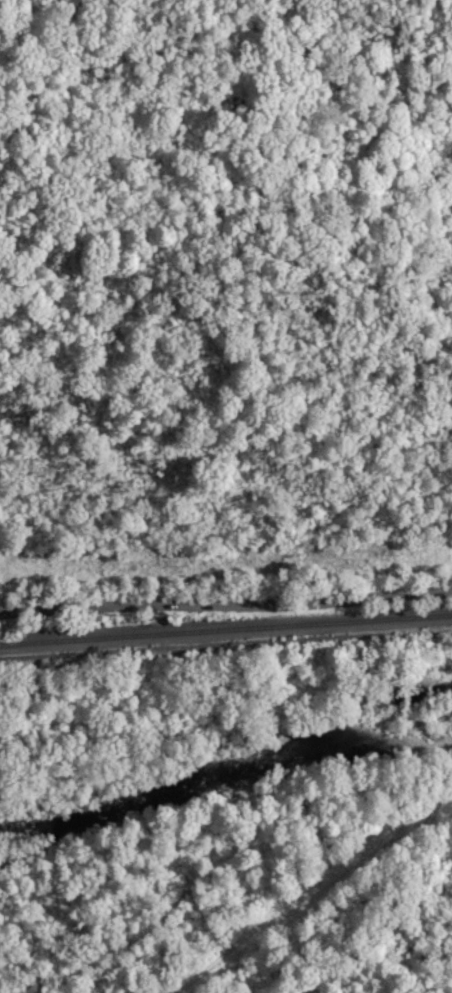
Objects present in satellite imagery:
road: (226, 623)
railway: (226, 648)

